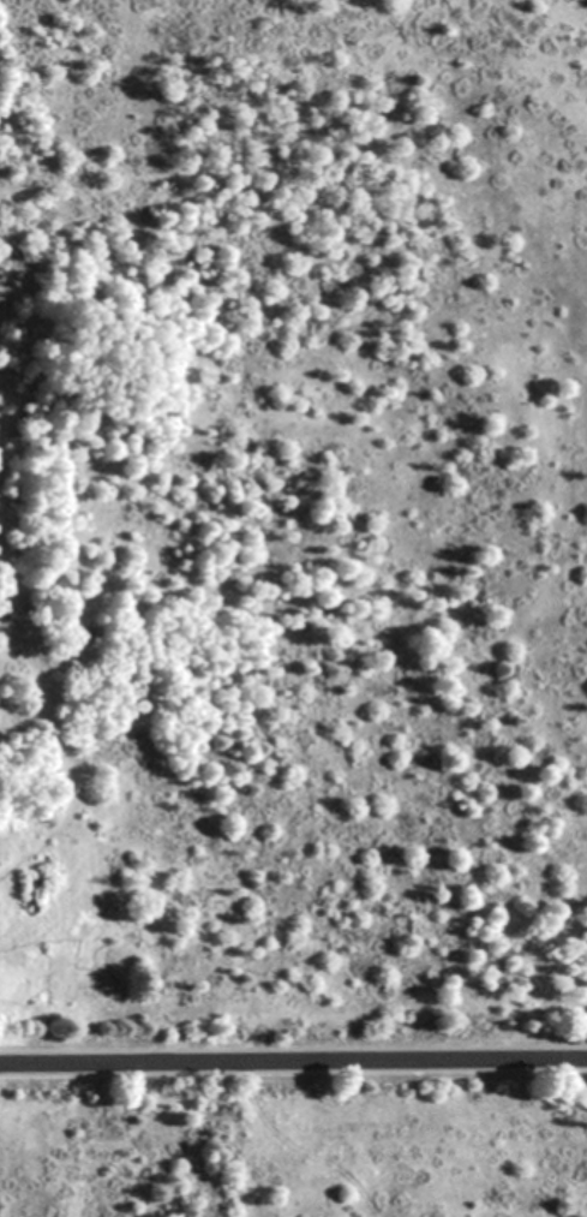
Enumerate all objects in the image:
road: (293, 1062)

